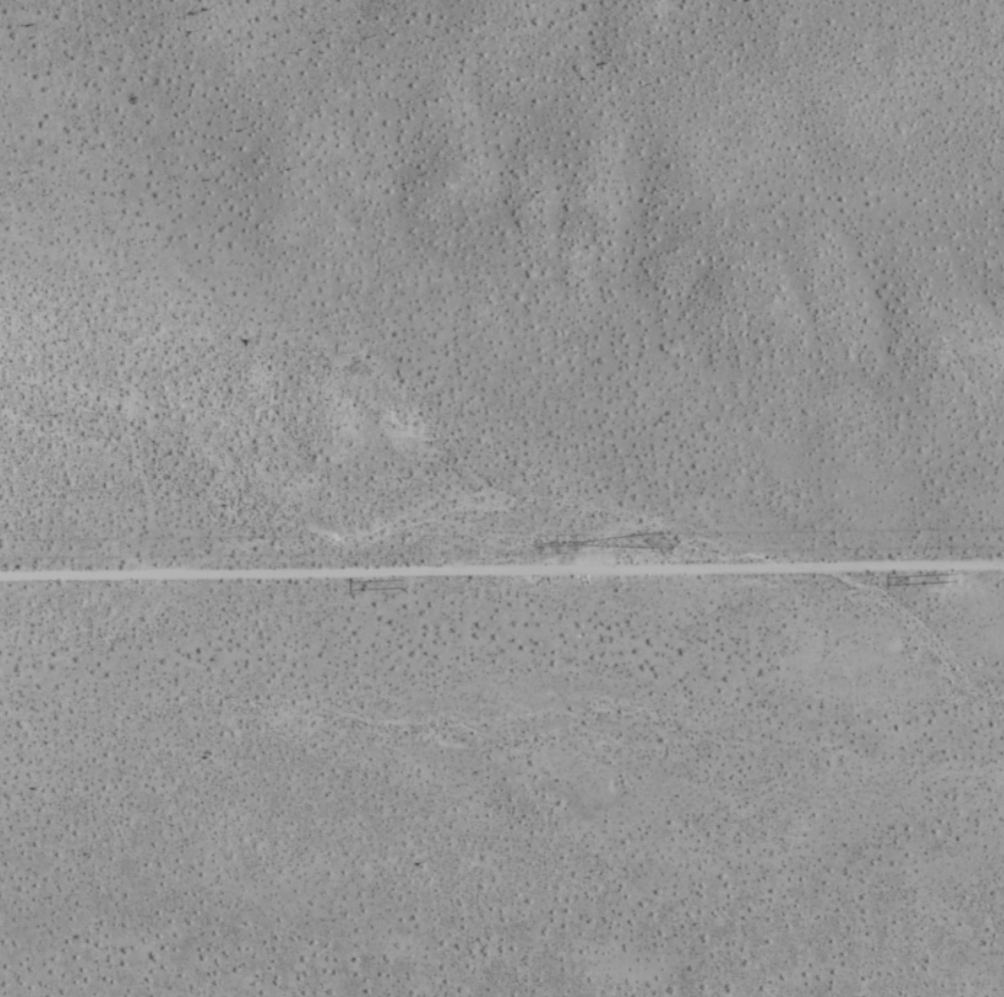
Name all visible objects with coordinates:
power tower: (674, 539)
power tower: (942, 581)
power tower: (414, 586)

